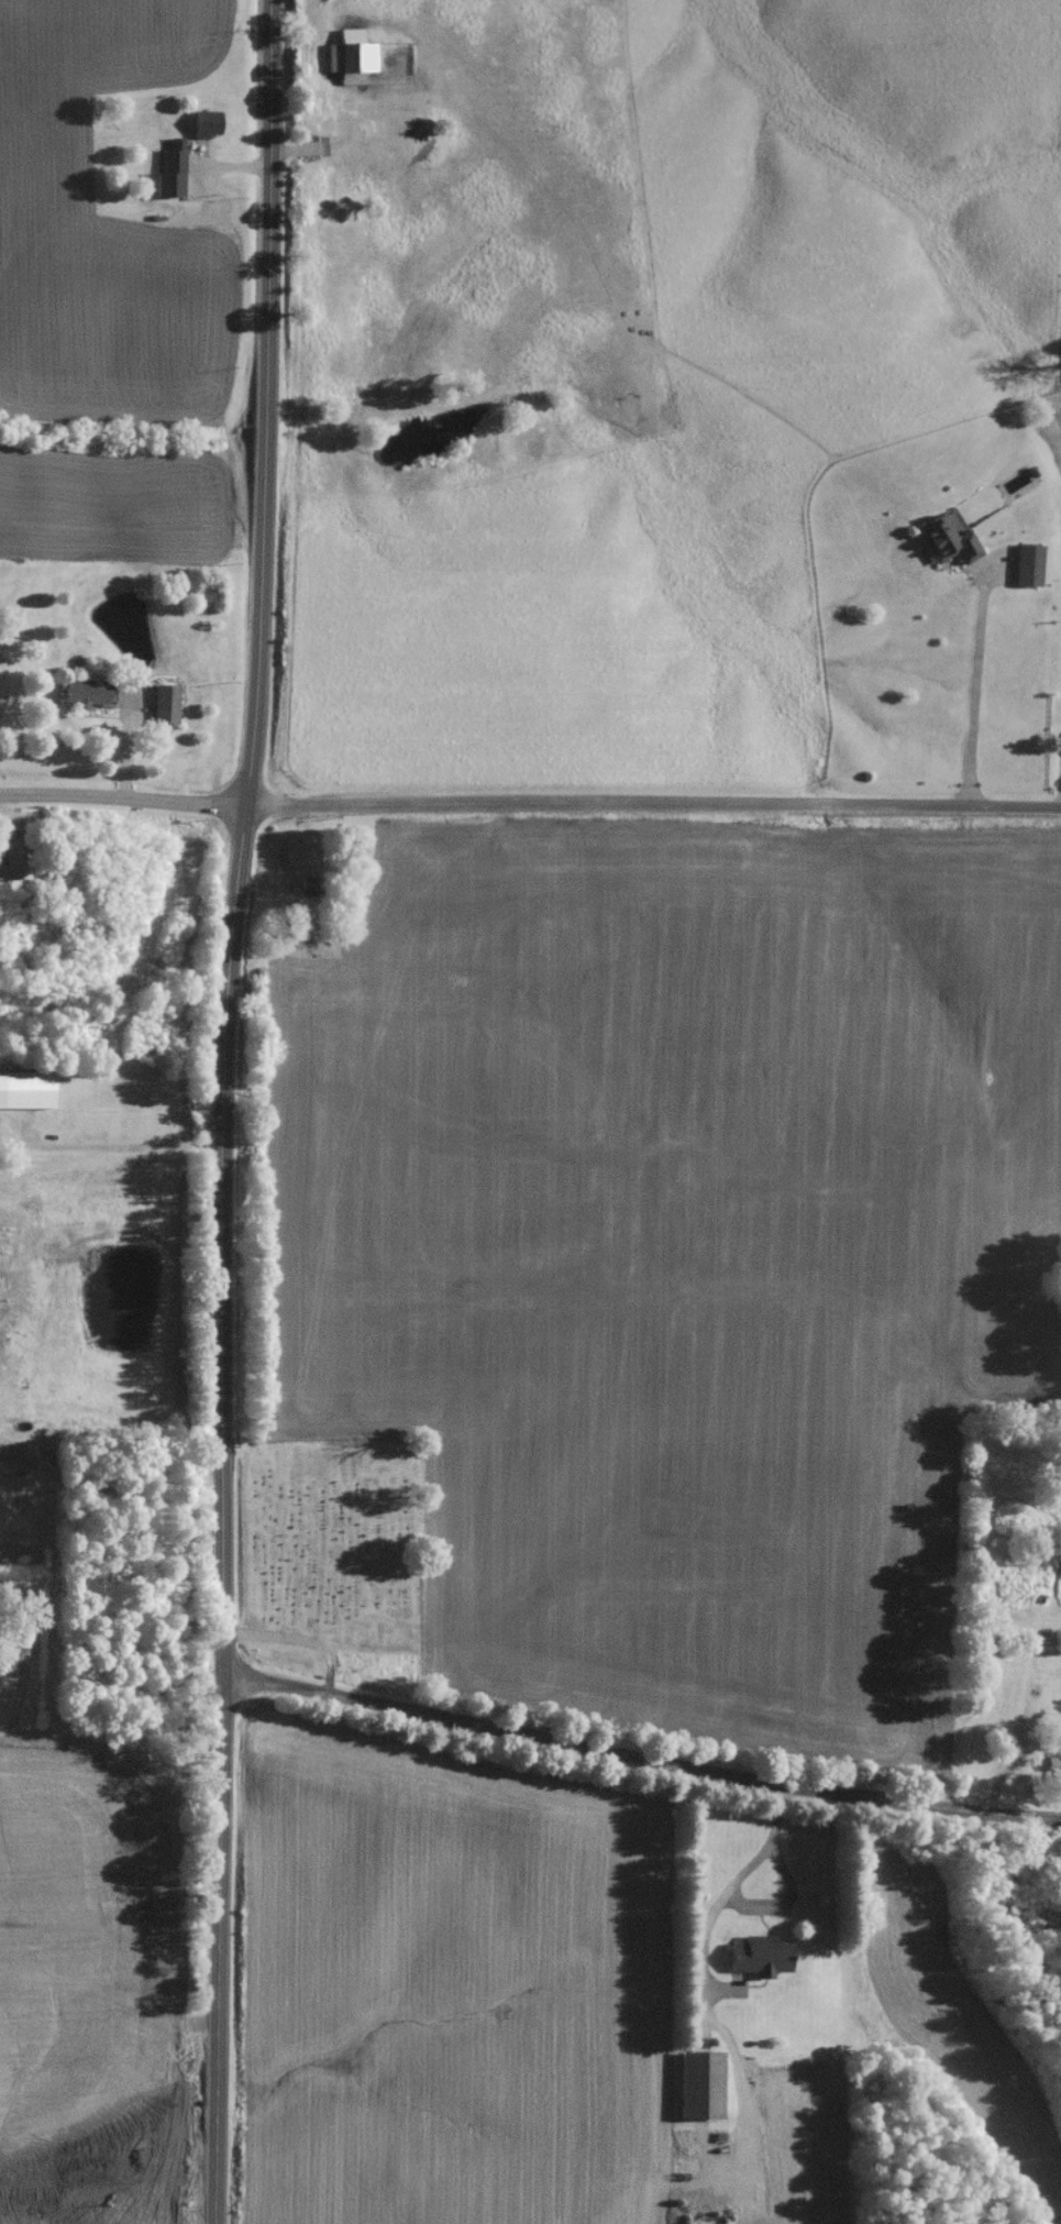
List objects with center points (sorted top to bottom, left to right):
building: (349, 67)
building: (202, 130)
building: (168, 167)
building: (943, 548)
building: (1023, 572)
road: (973, 674)
building: (82, 700)
building: (162, 709)
road: (122, 796)
road: (653, 796)
building: (295, 862)
building: (12, 867)
building: (539, 877)
building: (9, 942)
road: (225, 1111)
road: (113, 1149)
road: (113, 1494)
park: (323, 1563)
road: (639, 1752)
building: (1051, 1774)
road: (721, 1893)
building: (754, 1961)
building: (696, 2091)

